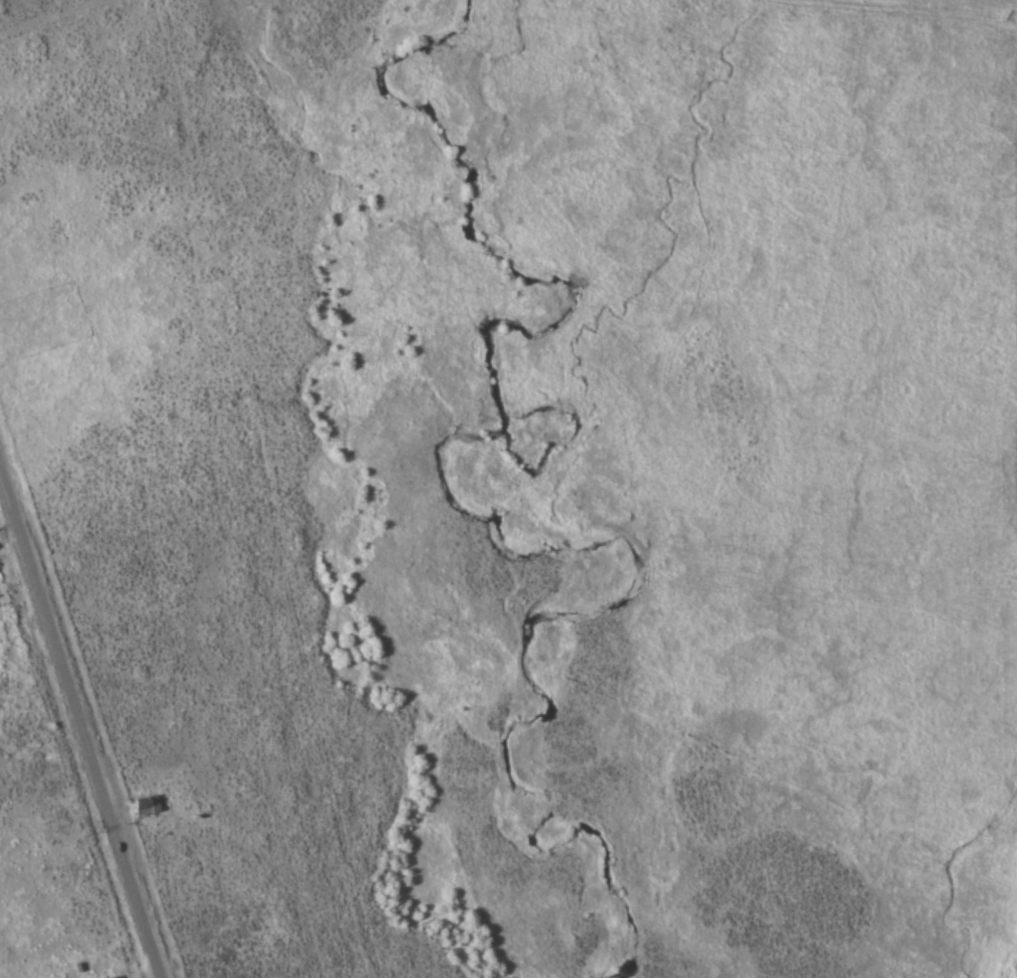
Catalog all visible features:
road: (51, 17)
road: (80, 727)

